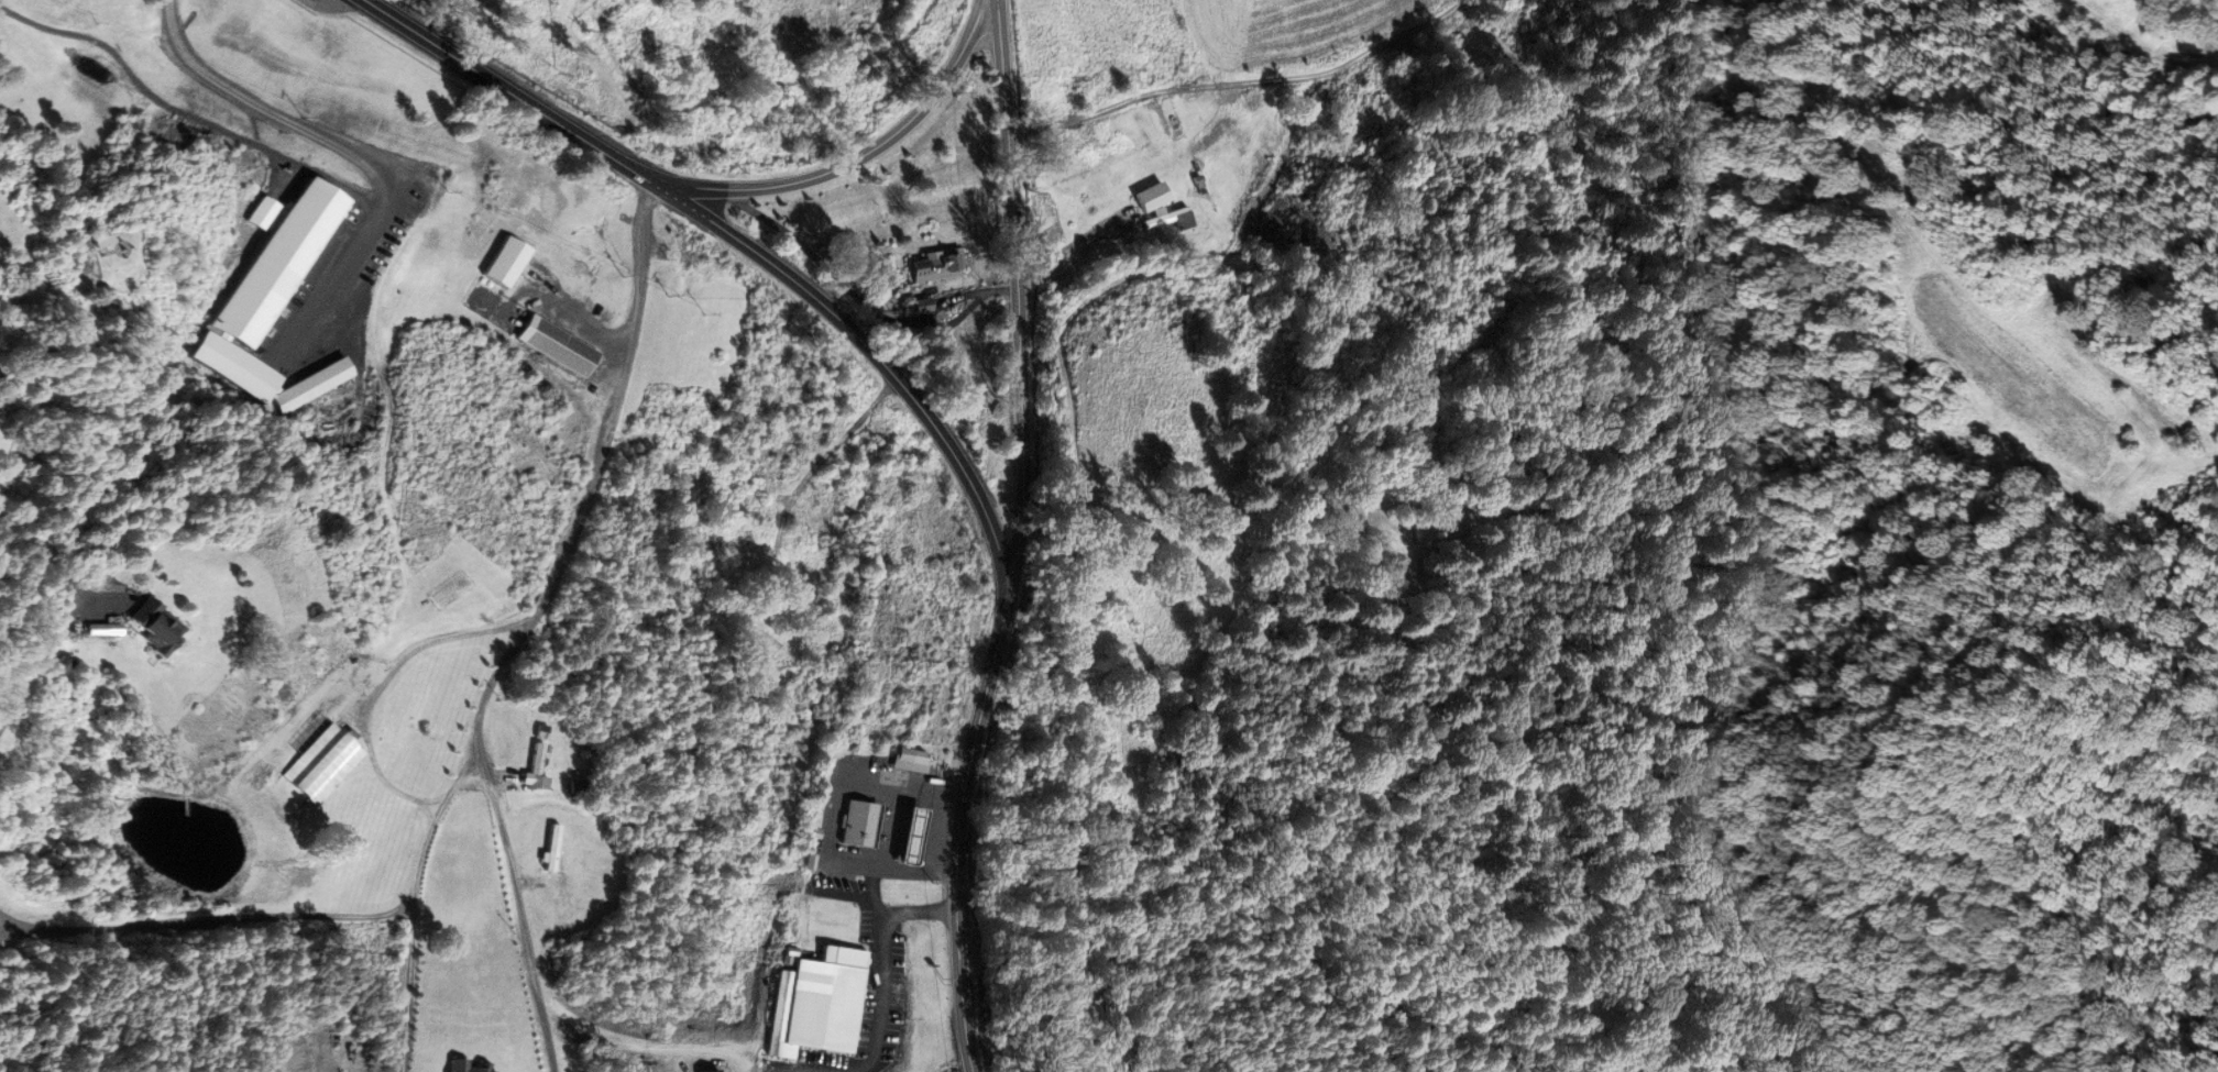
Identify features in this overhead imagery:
road: (332, 5)
road: (262, 106)
road: (1220, 141)
road: (854, 162)
building: (1170, 220)
road: (740, 242)
building: (109, 247)
building: (503, 263)
building: (934, 266)
park: (106, 279)
building: (265, 290)
building: (557, 346)
building: (310, 385)
road: (35, 415)
road: (1022, 539)
road: (37, 554)
road: (526, 623)
building: (149, 627)
building: (756, 632)
building: (538, 732)
building: (908, 761)
building: (321, 765)
building: (532, 766)
building: (856, 825)
building: (908, 837)
building: (549, 848)
building: (823, 999)
building: (466, 1065)

